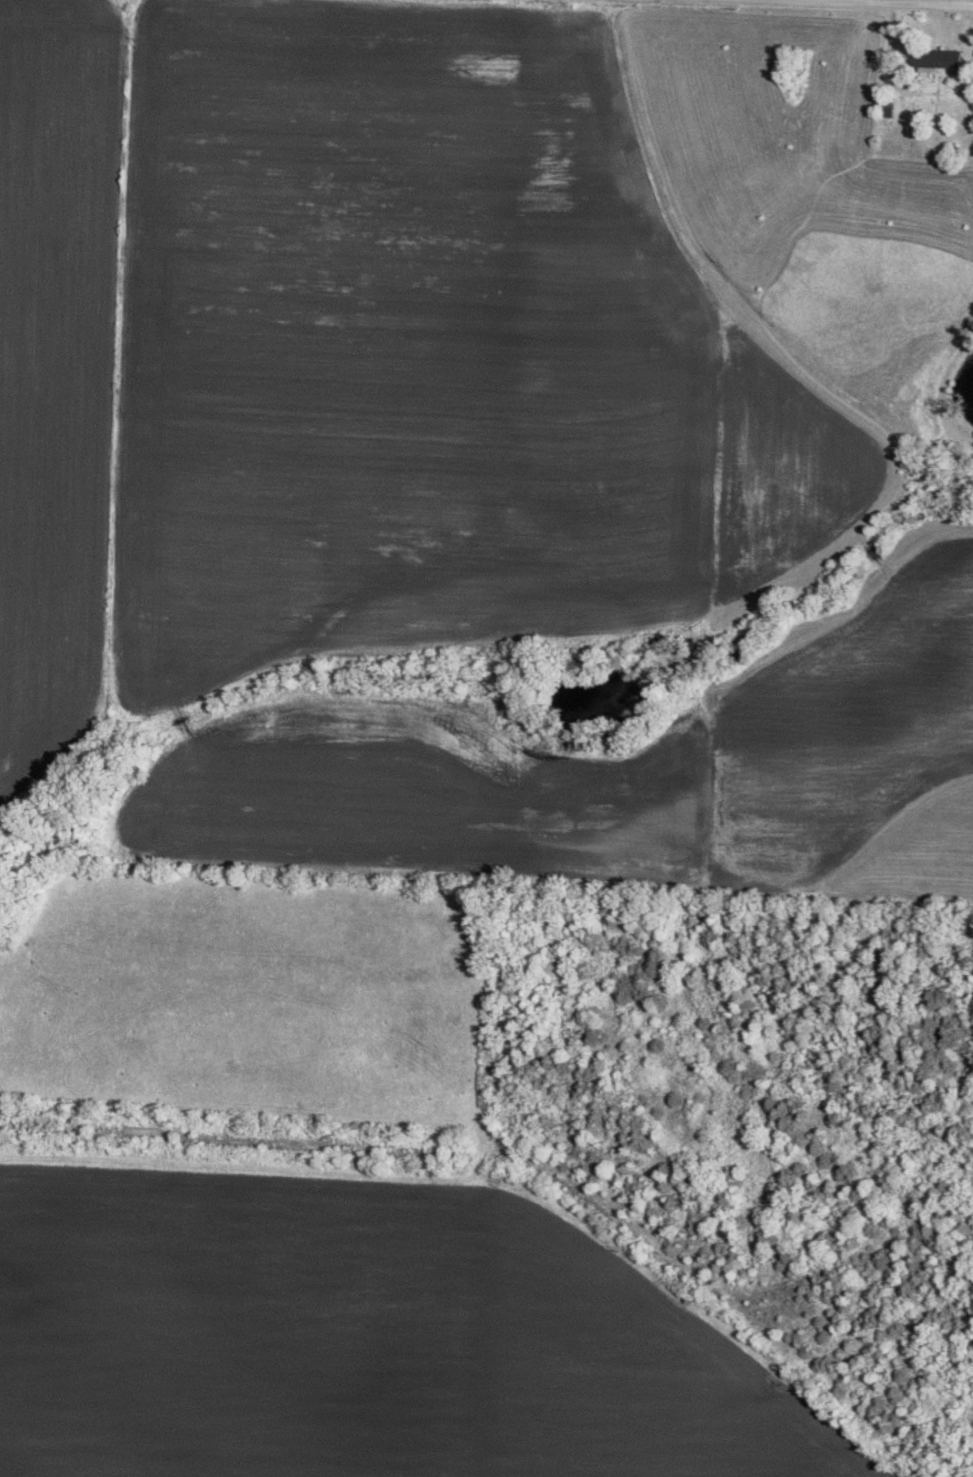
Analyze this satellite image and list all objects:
road: (883, 5)
building: (941, 55)

